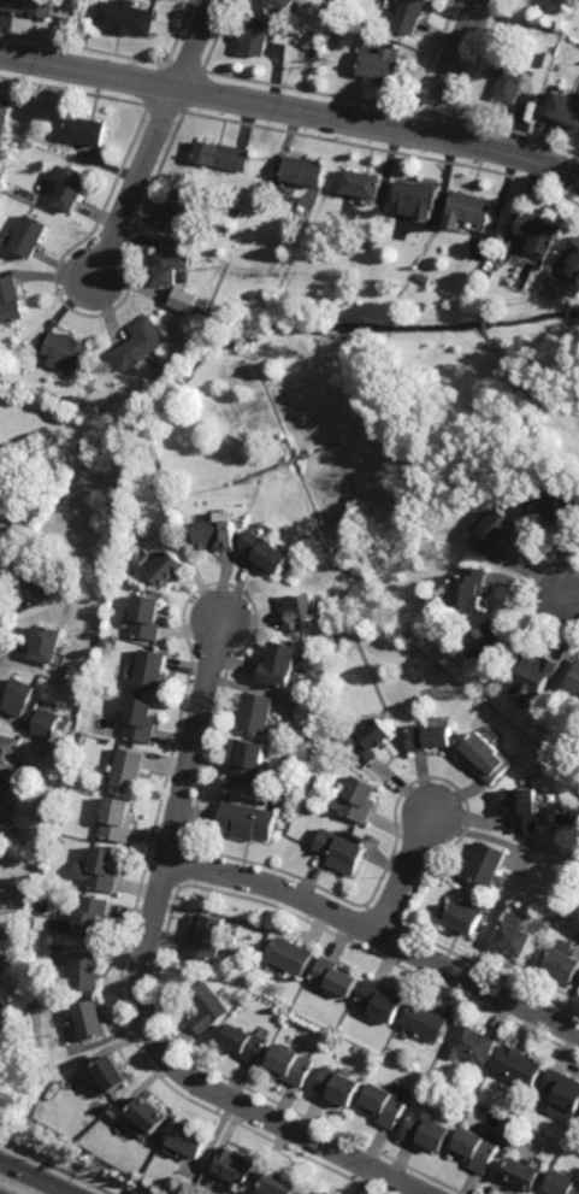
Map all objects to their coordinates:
building: (72, 1)
building: (282, 5)
building: (29, 7)
building: (409, 16)
building: (125, 18)
building: (342, 27)
building: (256, 36)
building: (383, 36)
road: (196, 45)
building: (330, 47)
building: (379, 65)
road: (454, 66)
building: (510, 81)
building: (565, 107)
road: (291, 110)
building: (4, 114)
building: (87, 133)
building: (4, 147)
building: (223, 157)
building: (303, 172)
road: (136, 186)
building: (361, 186)
building: (70, 189)
building: (418, 198)
building: (184, 211)
building: (469, 211)
building: (237, 213)
building: (308, 227)
building: (229, 231)
building: (540, 234)
building: (30, 239)
building: (282, 240)
building: (371, 243)
building: (358, 251)
building: (574, 259)
building: (166, 270)
building: (425, 278)
building: (554, 282)
building: (10, 299)
building: (185, 300)
building: (203, 311)
building: (140, 341)
building: (67, 347)
building: (77, 398)
building: (533, 459)
building: (551, 498)
building: (491, 525)
building: (218, 530)
building: (268, 548)
building: (2, 555)
building: (164, 564)
building: (34, 577)
building: (469, 584)
road: (572, 602)
building: (297, 608)
building: (146, 614)
building: (491, 637)
building: (102, 639)
building: (43, 641)
building: (279, 661)
building: (149, 669)
building: (534, 674)
building: (575, 684)
building: (17, 695)
building: (256, 712)
building: (138, 718)
building: (45, 723)
building: (429, 735)
building: (372, 740)
building: (43, 752)
building: (7, 754)
building: (486, 755)
building: (248, 760)
building: (128, 767)
building: (0, 799)
building: (355, 799)
building: (43, 807)
building: (526, 808)
building: (117, 819)
building: (246, 819)
building: (1, 823)
building: (339, 851)
building: (488, 863)
building: (100, 870)
building: (25, 872)
road: (404, 874)
building: (462, 917)
building: (91, 918)
building: (13, 933)
building: (20, 933)
road: (379, 933)
building: (515, 936)
building: (207, 937)
building: (289, 957)
building: (563, 961)
building: (85, 972)
building: (332, 977)
road: (144, 983)
building: (380, 1001)
building: (208, 1007)
building: (426, 1022)
building: (90, 1023)
building: (246, 1045)
building: (471, 1045)
building: (290, 1066)
building: (516, 1066)
building: (112, 1077)
building: (338, 1088)
building: (562, 1089)
building: (384, 1105)
building: (149, 1112)
building: (427, 1130)
building: (189, 1136)
building: (158, 1140)
building: (475, 1146)
building: (236, 1161)
building: (521, 1171)
road: (35, 1177)
building: (280, 1180)
building: (562, 1182)
building: (320, 1192)

